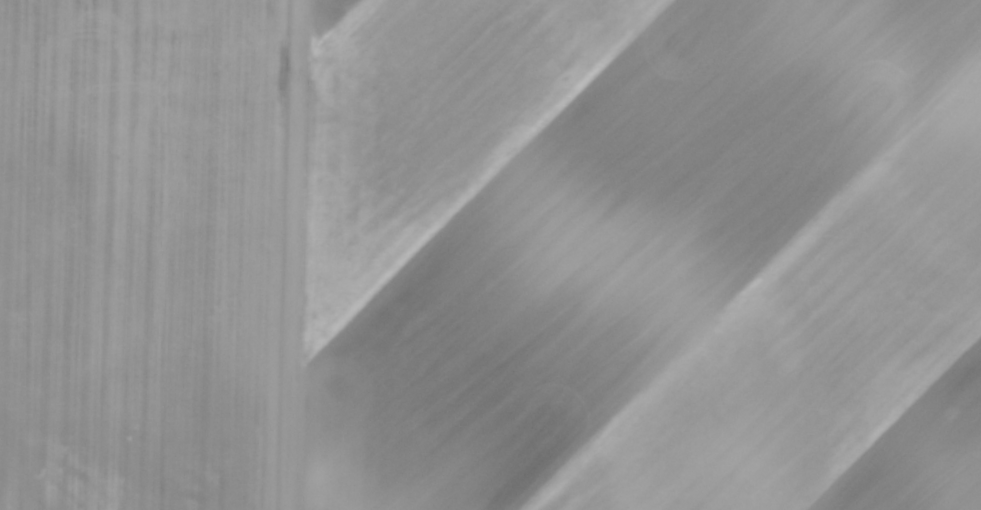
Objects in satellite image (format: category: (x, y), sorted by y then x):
crop: (136, 252)
road: (290, 255)
crop: (644, 255)

